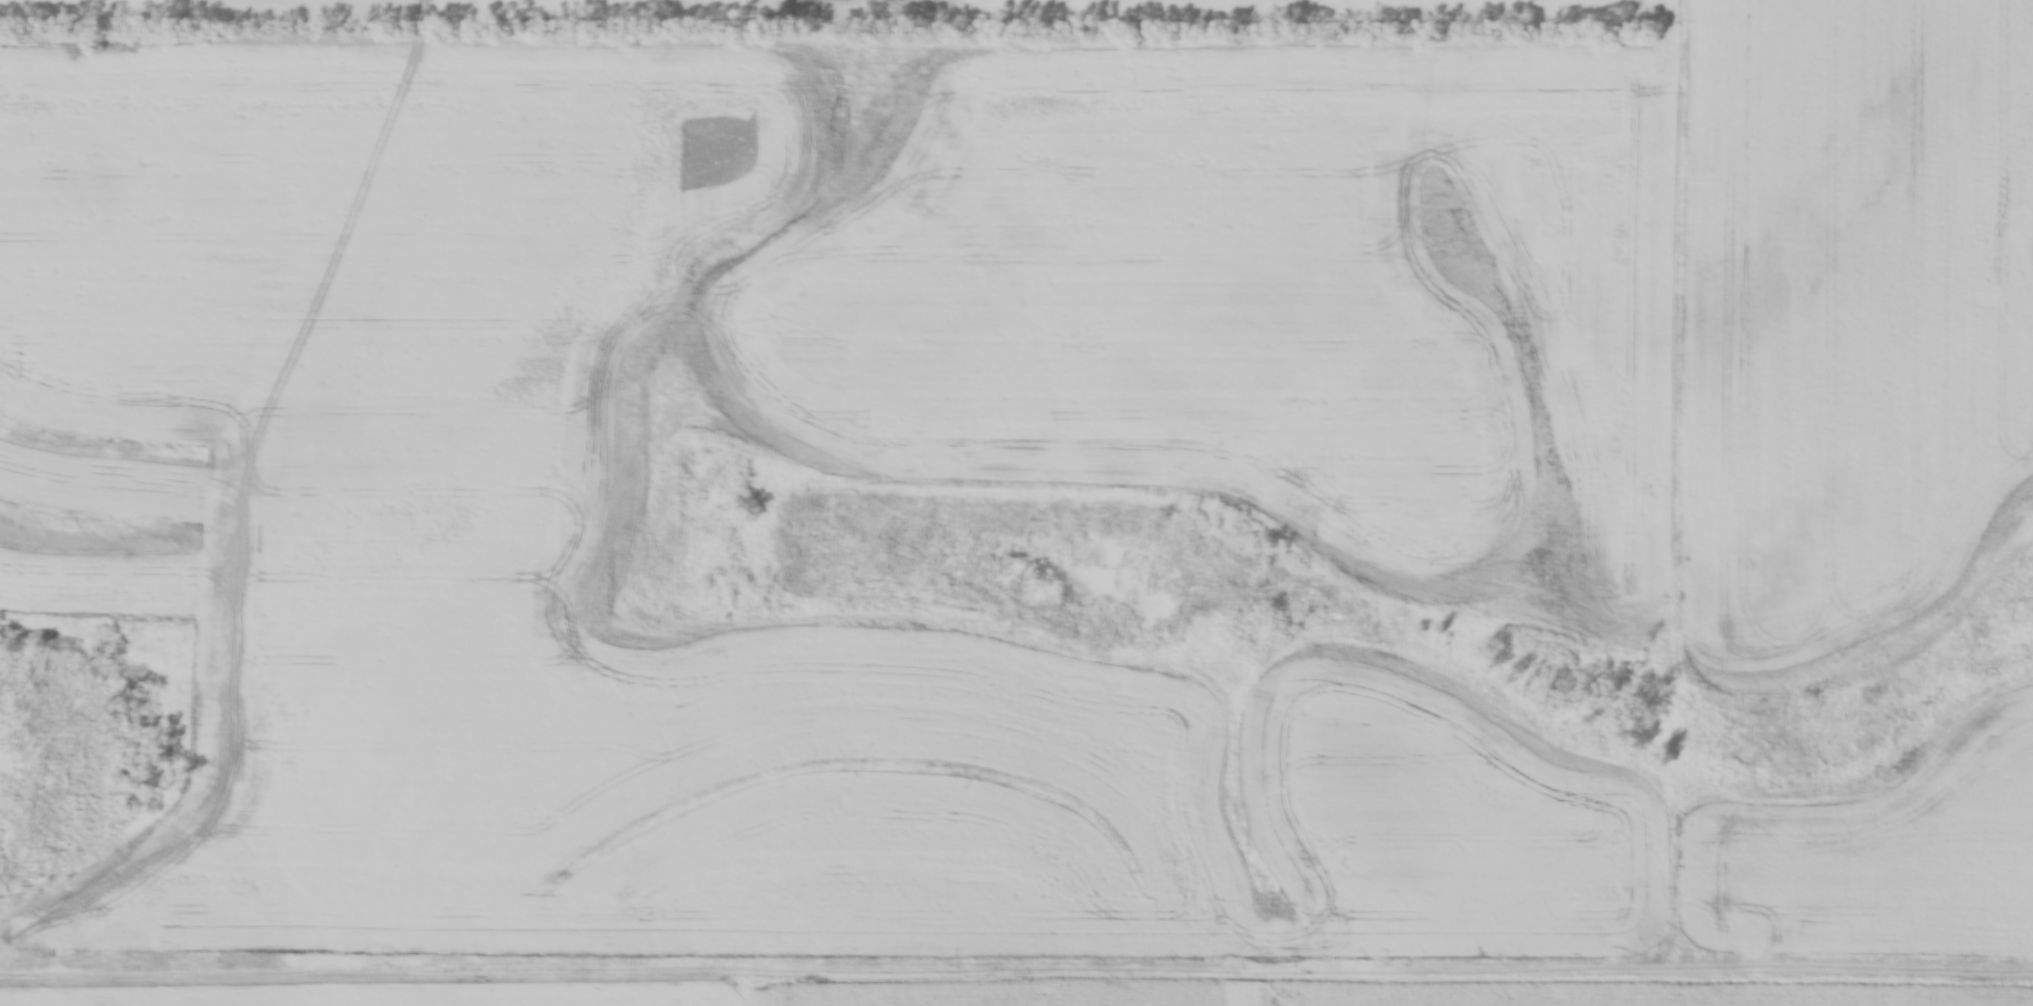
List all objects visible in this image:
road: (1016, 976)

